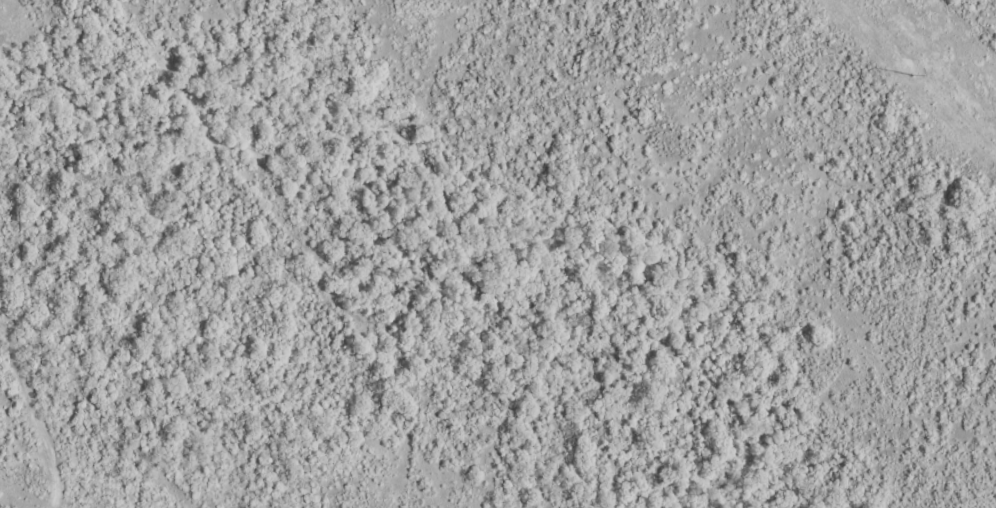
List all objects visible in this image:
power tower: (913, 76)

